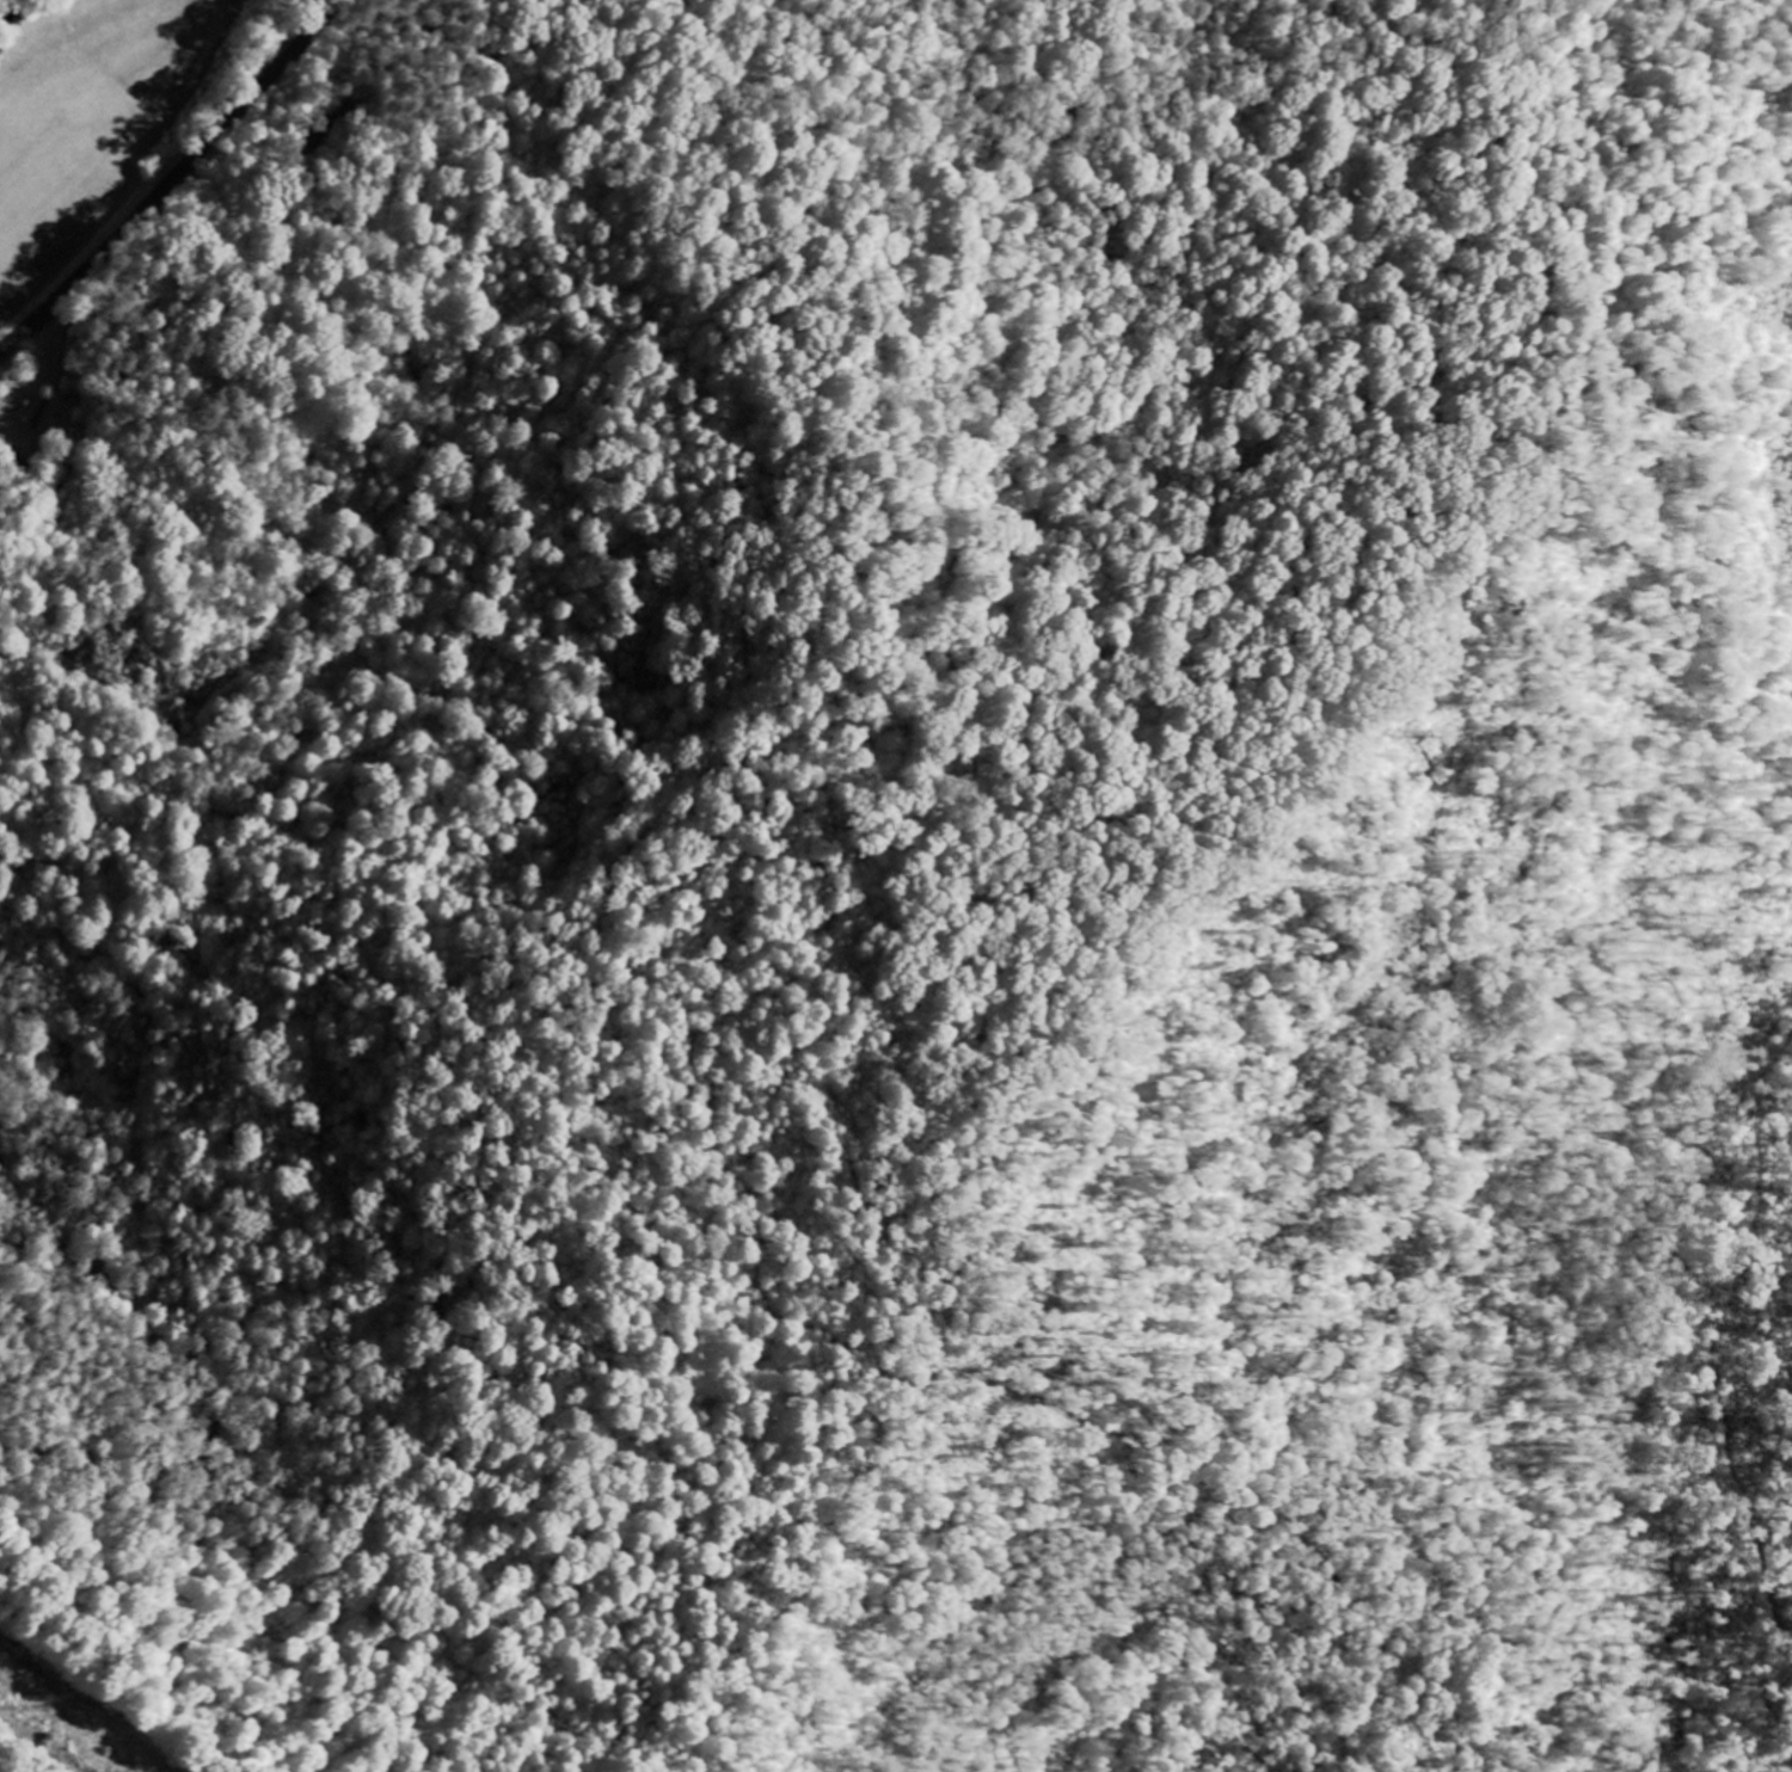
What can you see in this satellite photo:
road: (174, 179)

